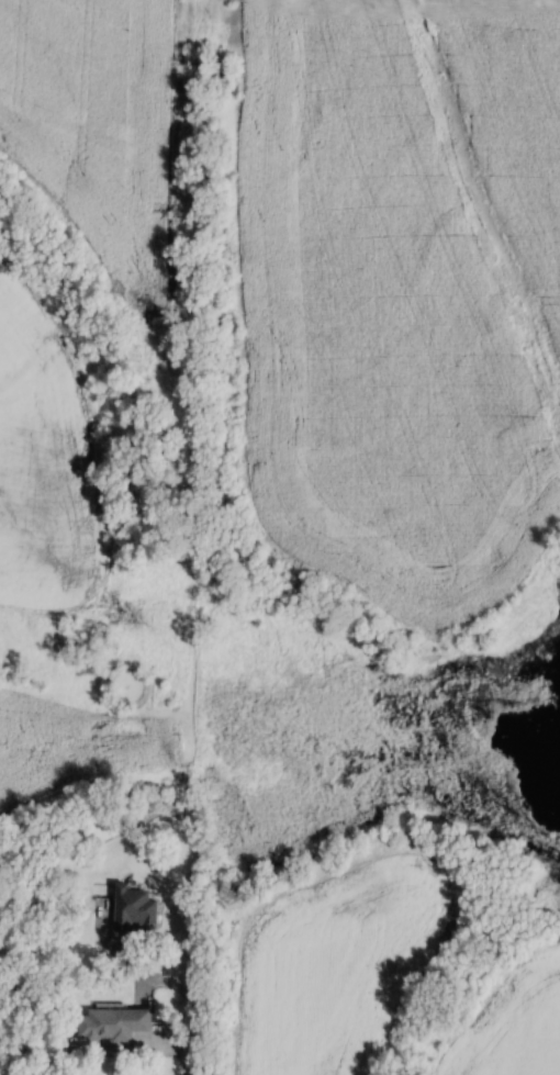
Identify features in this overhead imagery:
building: (132, 908)
road: (165, 981)
building: (111, 1023)
road: (124, 1051)

